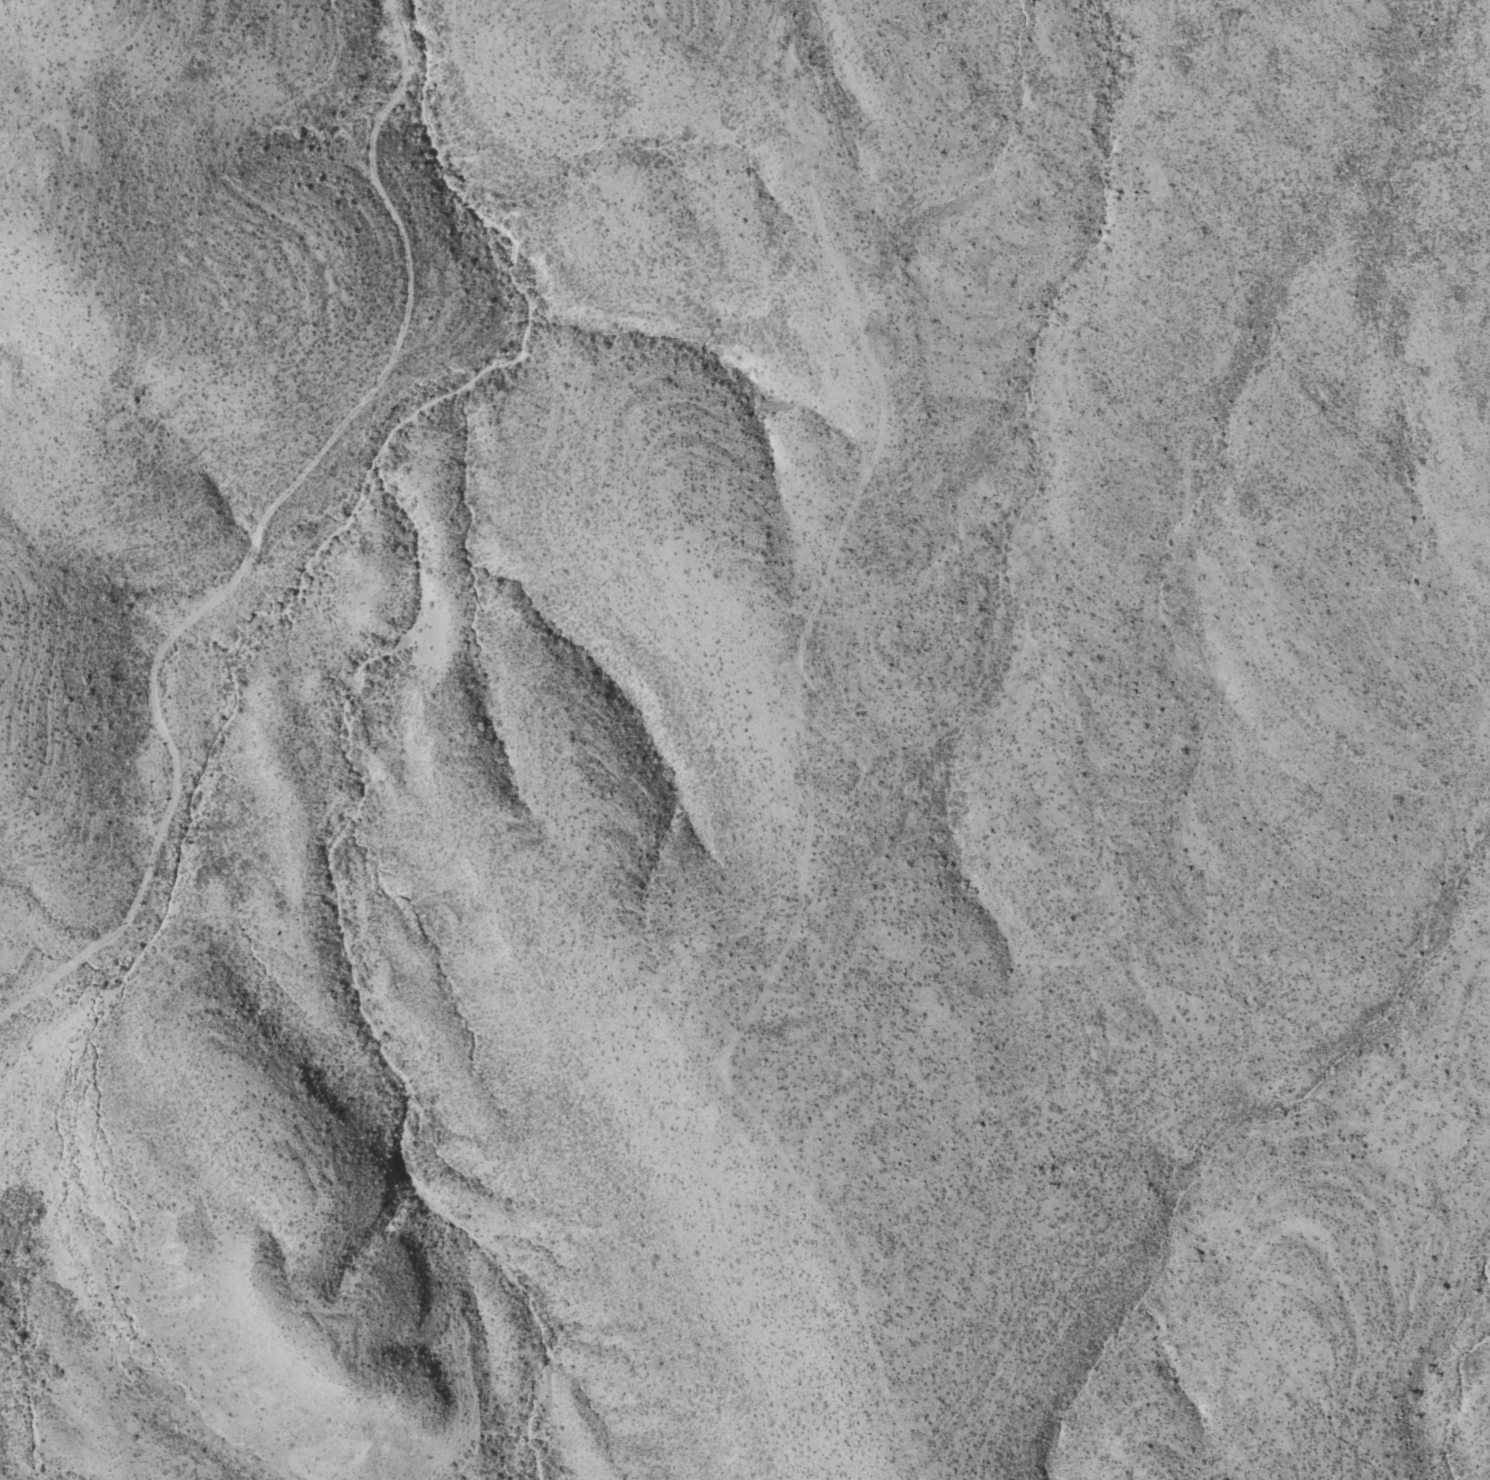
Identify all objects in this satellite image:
road: (263, 545)

